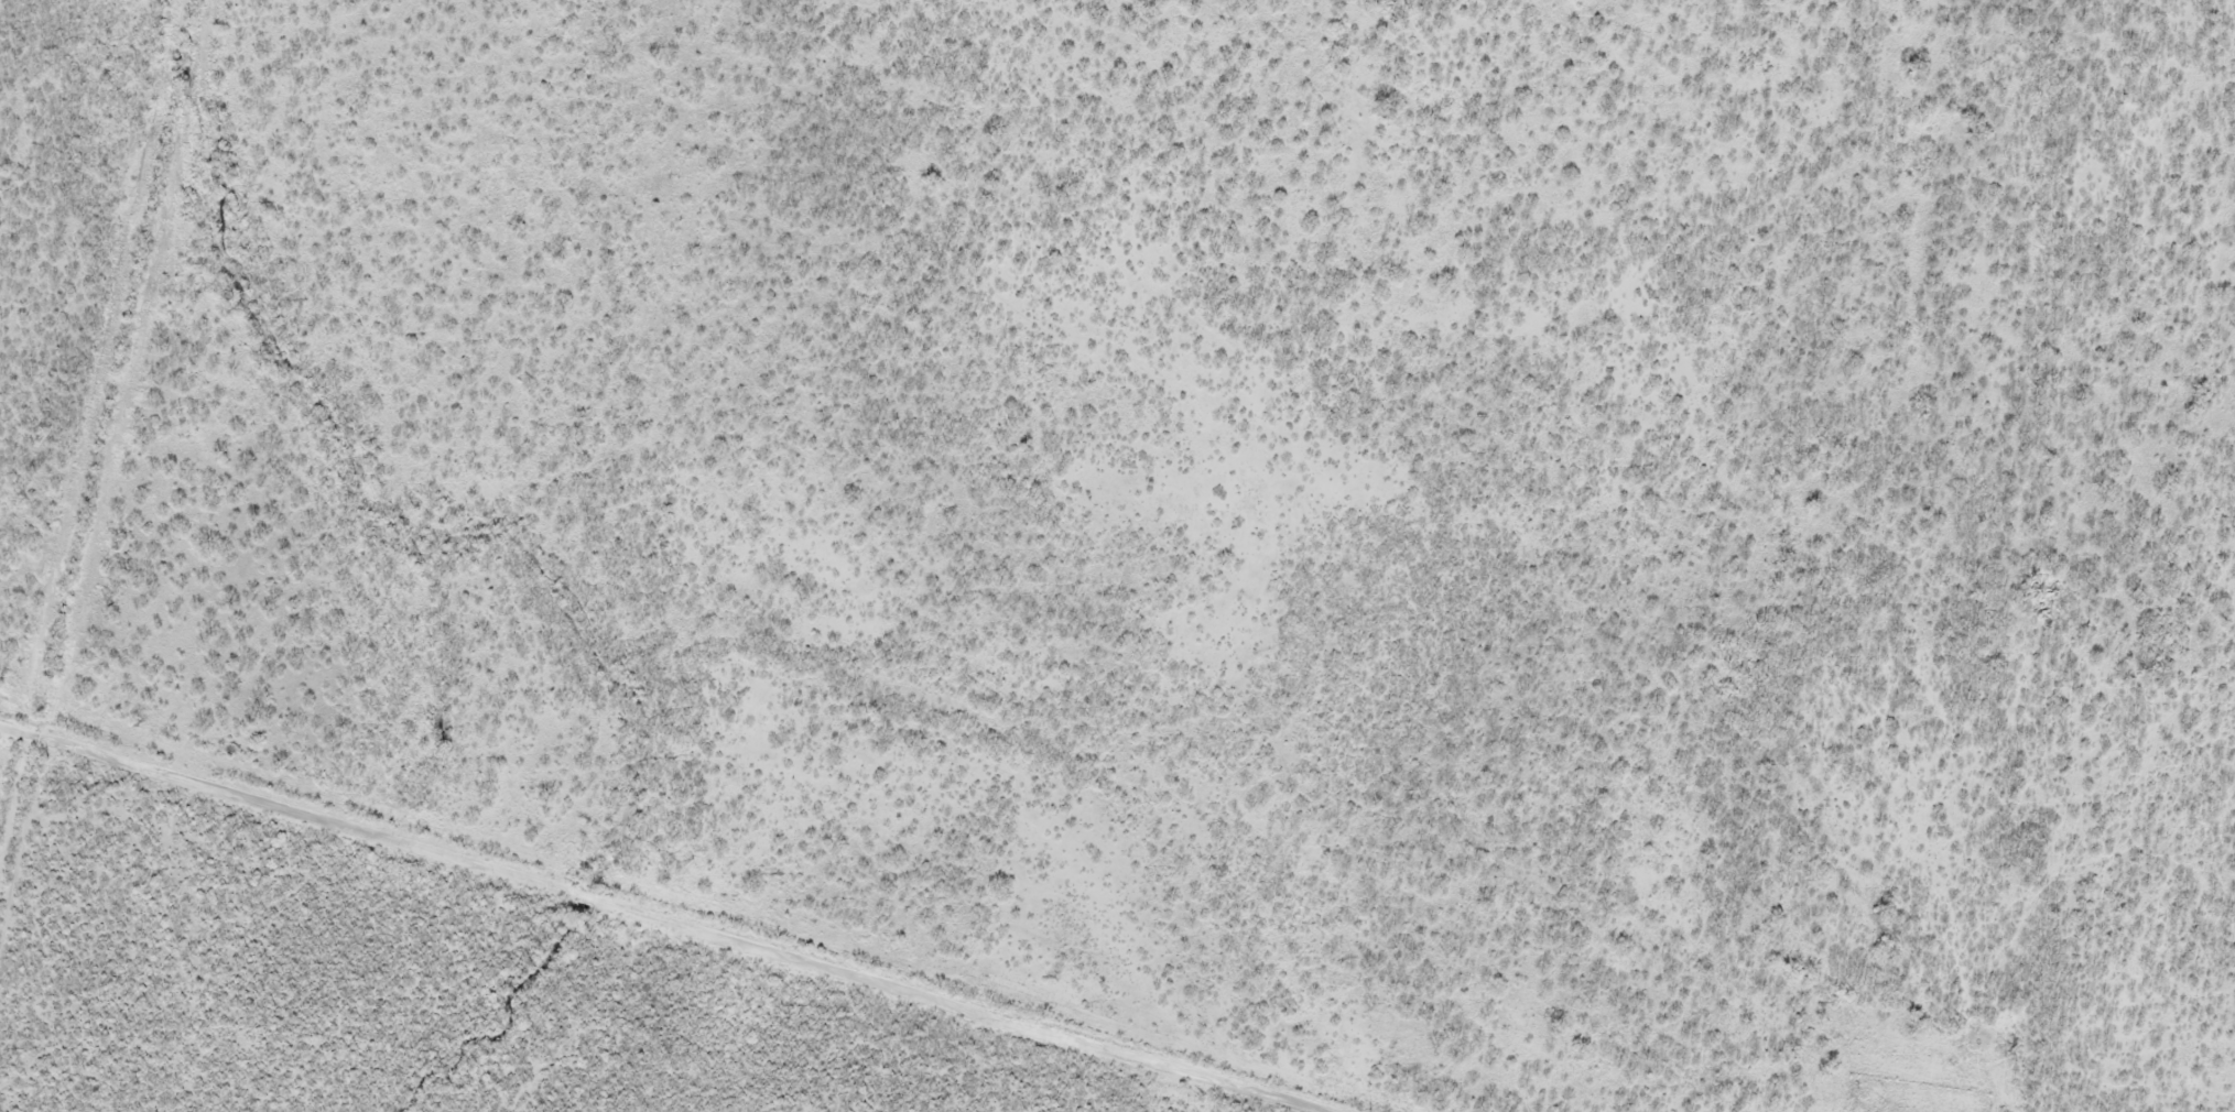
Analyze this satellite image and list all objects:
road: (653, 919)

